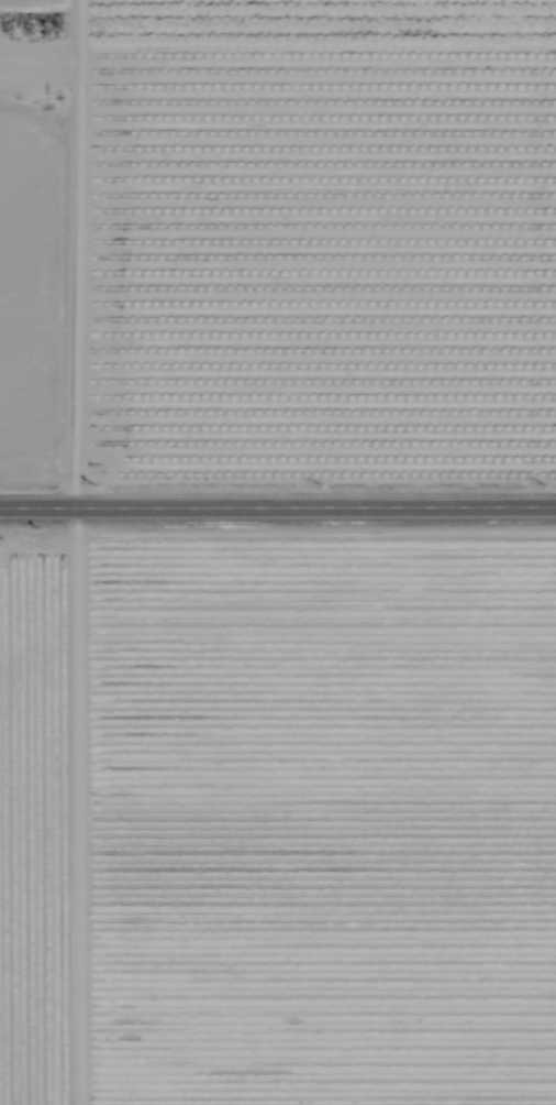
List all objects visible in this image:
road: (30, 58)
road: (64, 254)
road: (277, 507)

